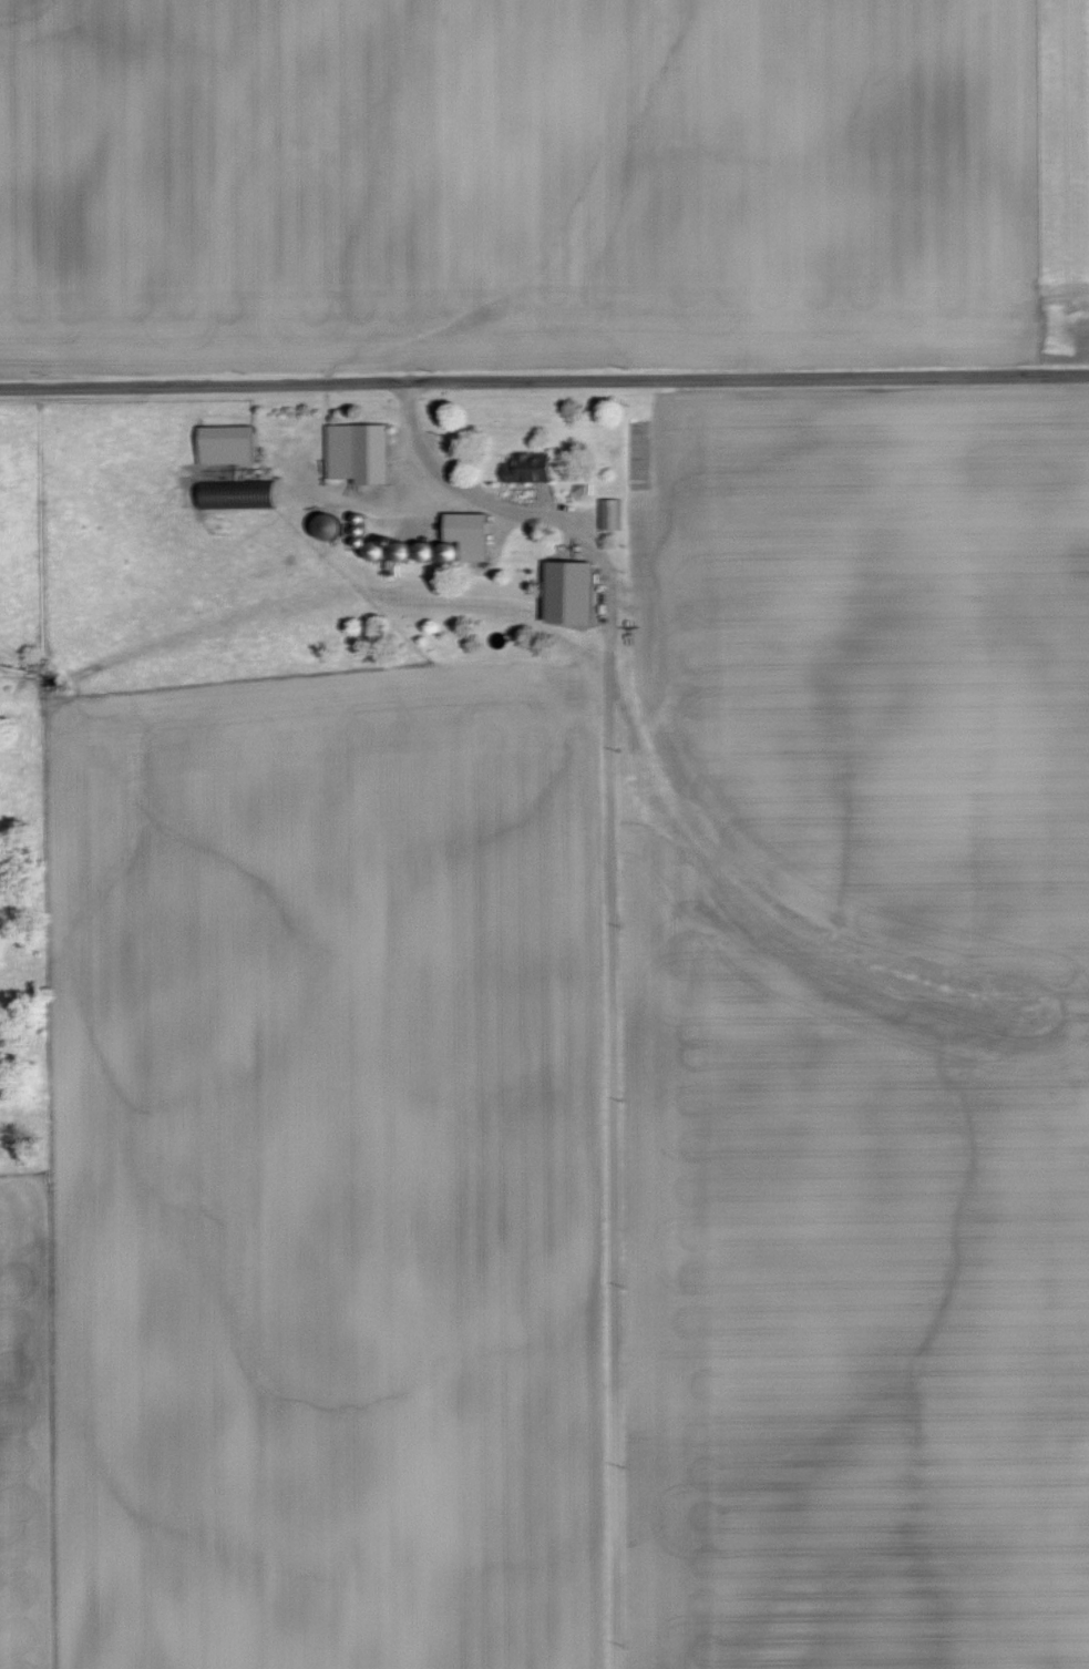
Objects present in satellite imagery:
road: (544, 378)
building: (217, 442)
building: (351, 450)
building: (525, 465)
road: (441, 477)
road: (540, 487)
building: (227, 492)
road: (538, 504)
building: (602, 511)
silo: (349, 516)
silo: (319, 524)
silo: (349, 529)
building: (461, 532)
silo: (350, 540)
silo: (366, 549)
silo: (395, 550)
silo: (422, 551)
silo: (443, 551)
building: (381, 566)
building: (563, 567)
building: (561, 590)
building: (562, 611)
road: (603, 1075)

